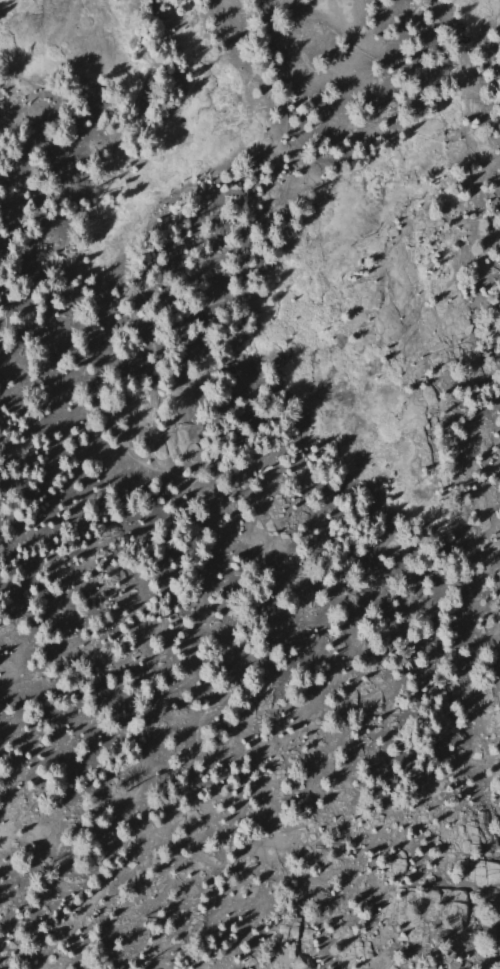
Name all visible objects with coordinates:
road: (183, 477)

